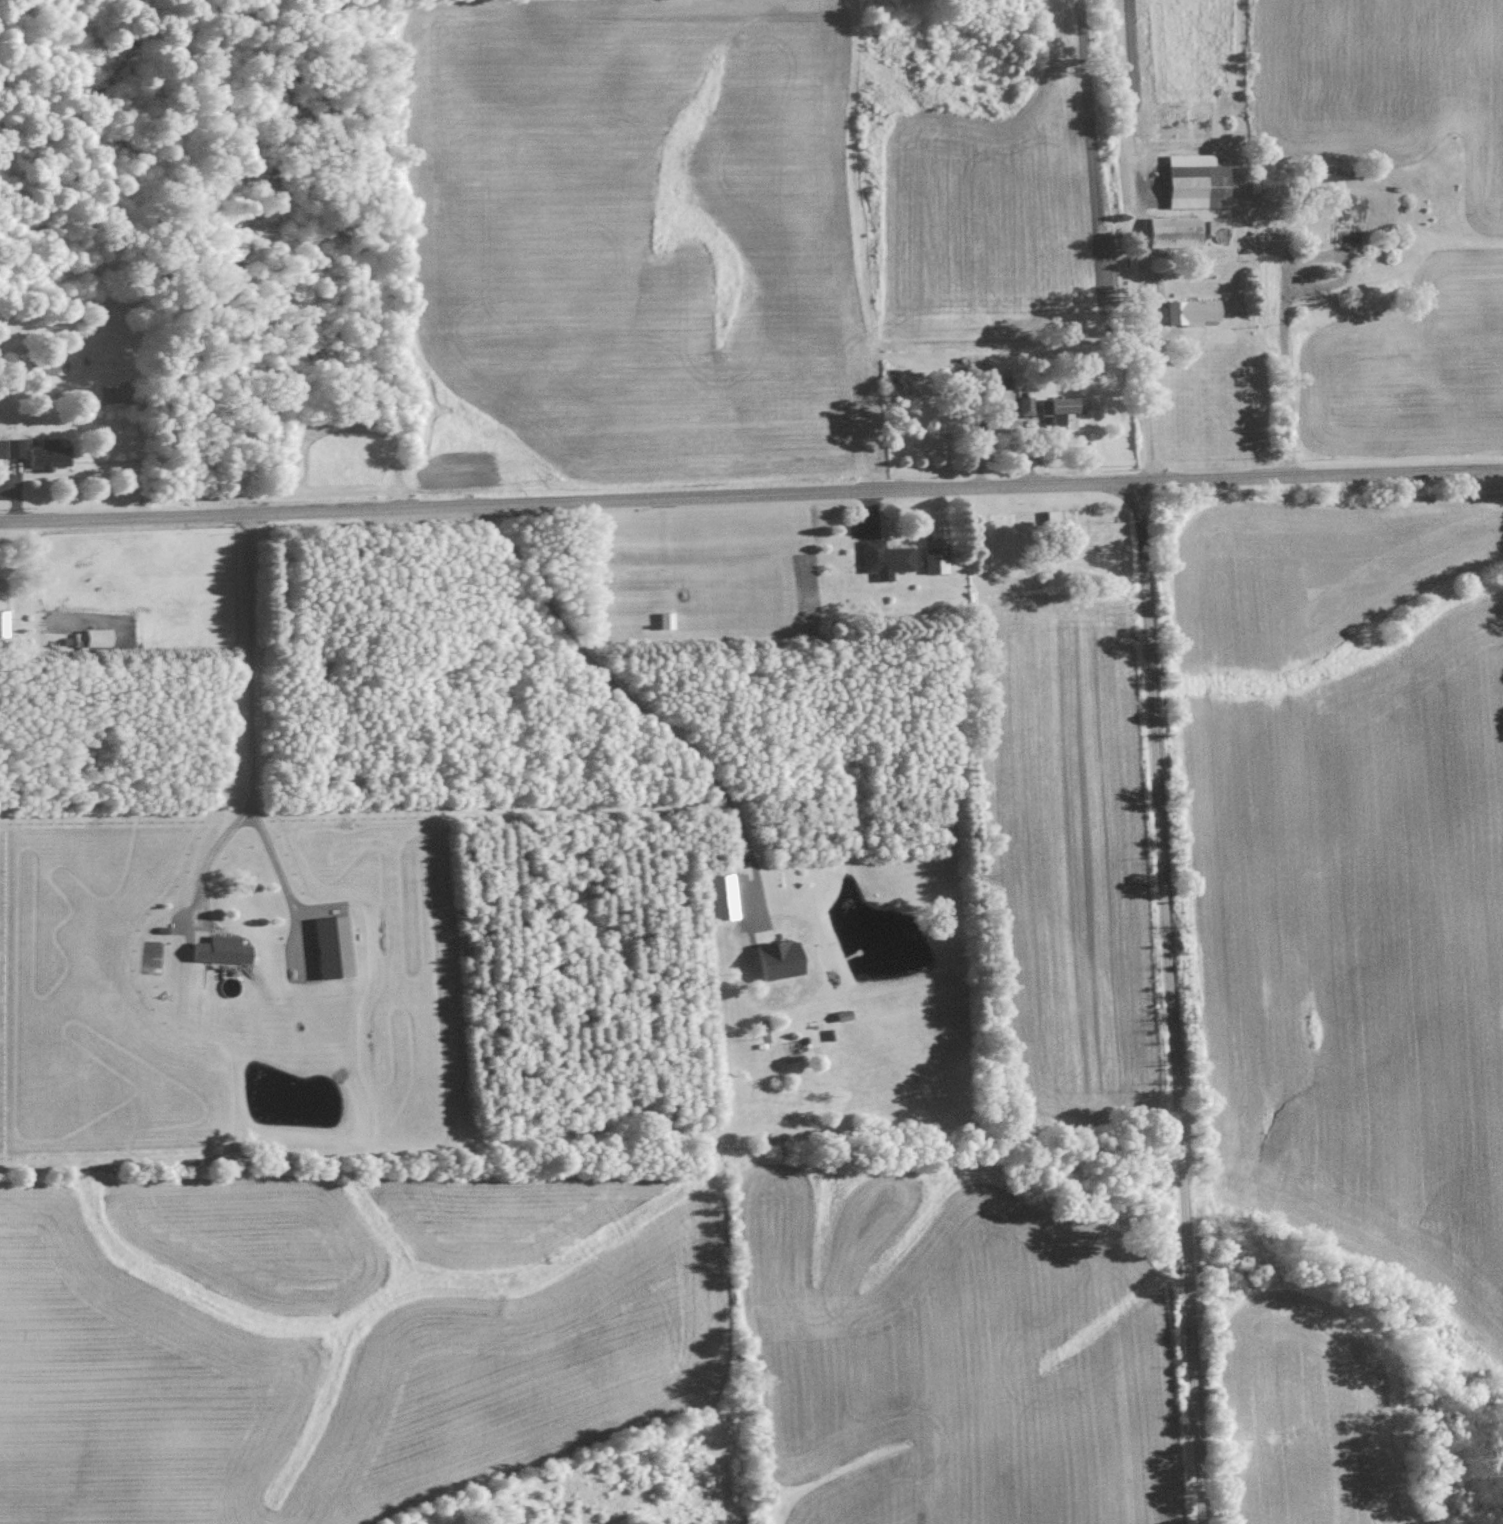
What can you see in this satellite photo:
building: (1198, 182)
building: (1176, 231)
building: (1194, 310)
building: (50, 367)
building: (1026, 405)
building: (1060, 412)
building: (14, 447)
building: (49, 455)
road: (751, 493)
building: (887, 558)
building: (936, 559)
building: (2, 578)
building: (667, 620)
building: (4, 623)
building: (93, 637)
building: (724, 897)
building: (334, 947)
building: (222, 950)
building: (781, 959)
road: (1171, 1002)

